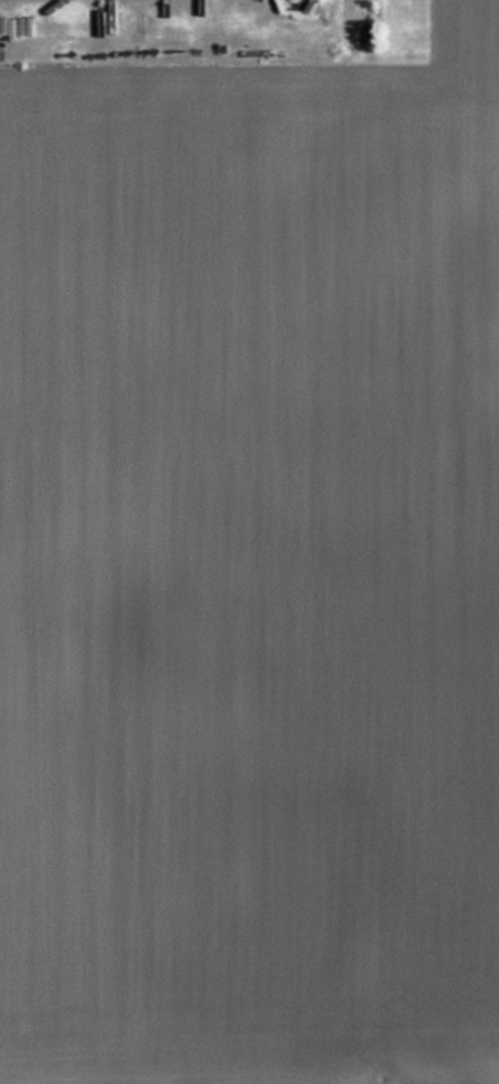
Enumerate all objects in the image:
building: (28, 18)

